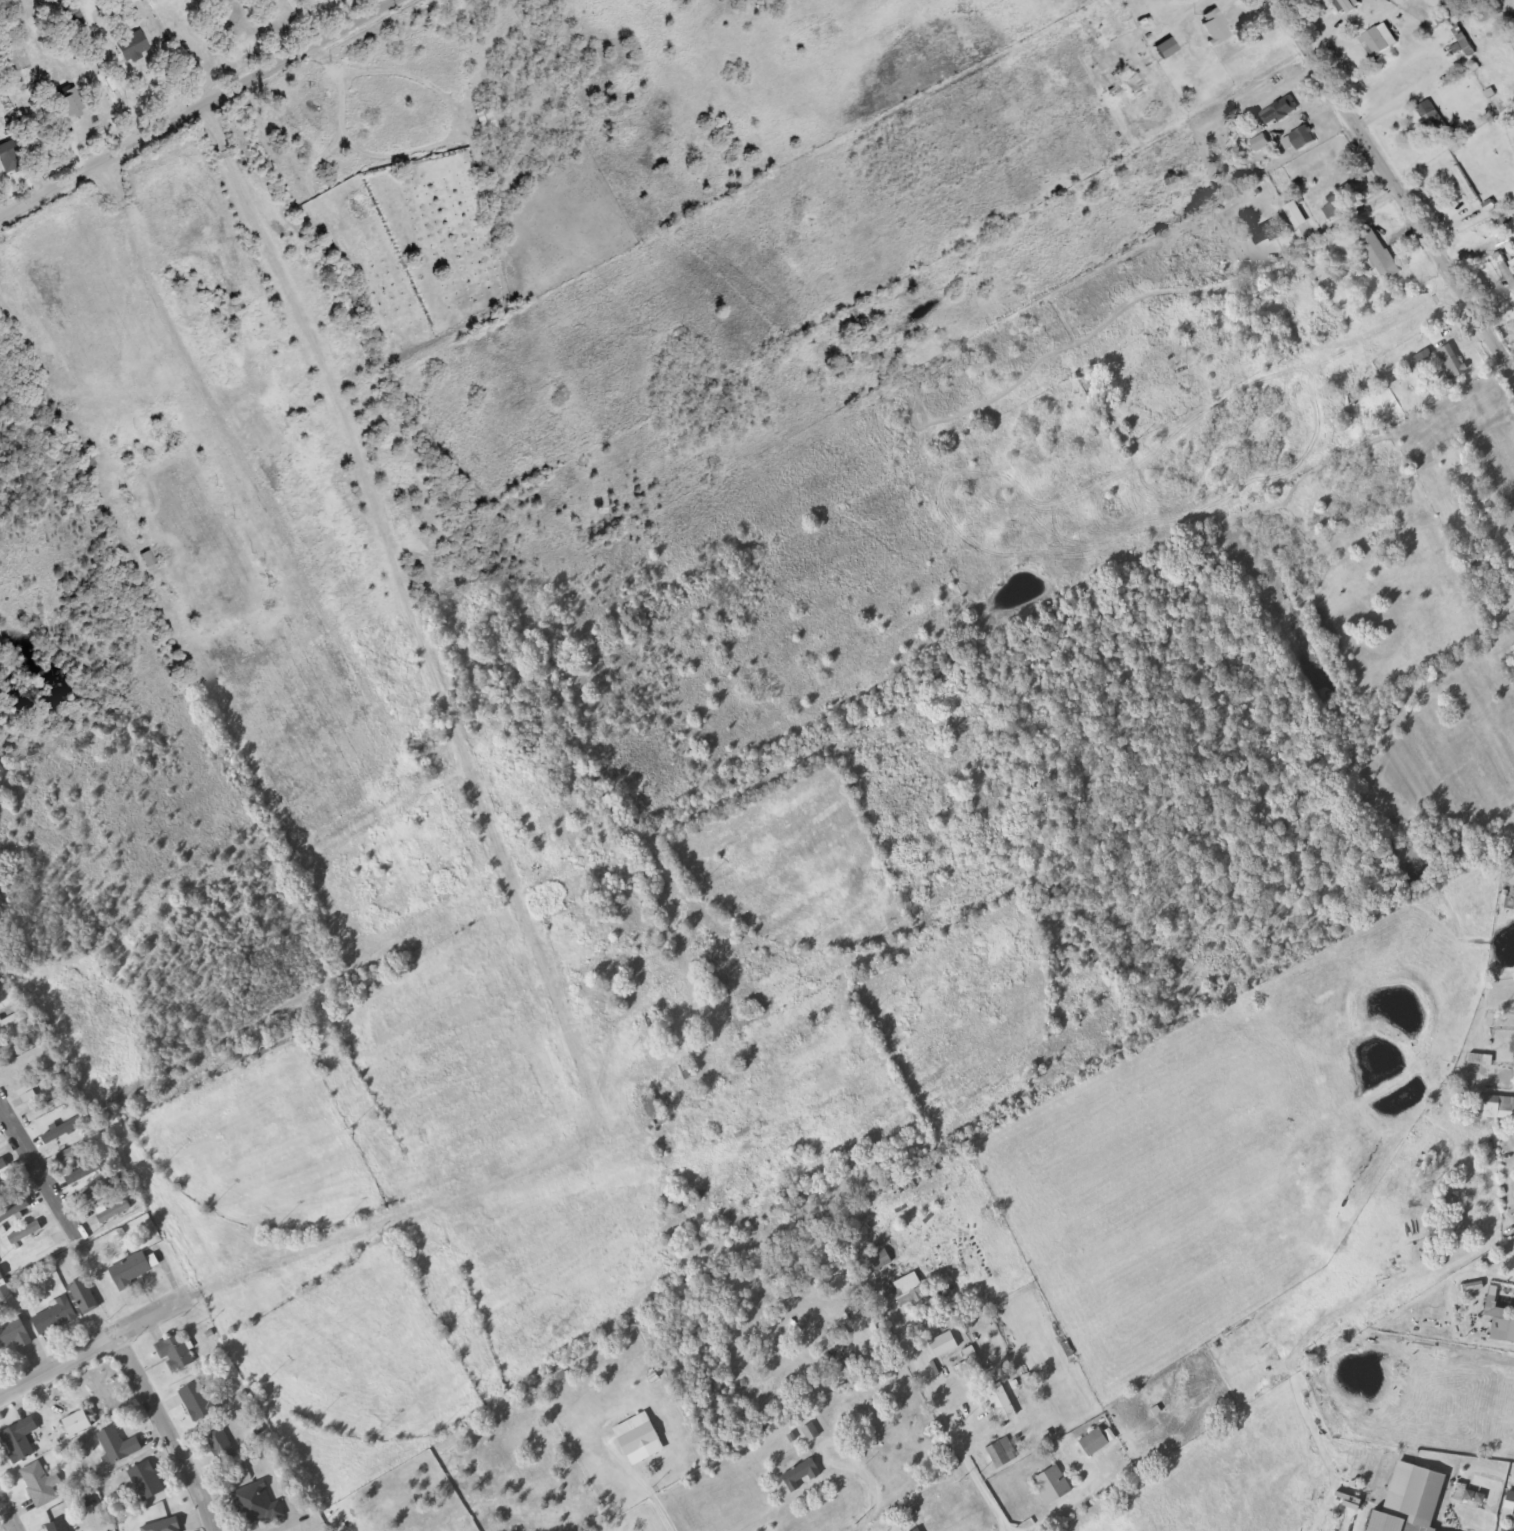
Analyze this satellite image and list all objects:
building: (1348, 6)
building: (1215, 27)
building: (1379, 42)
building: (133, 47)
building: (1167, 48)
building: (71, 101)
road: (195, 107)
building: (1281, 112)
building: (1434, 121)
building: (1302, 139)
building: (10, 157)
building: (1466, 184)
road: (1395, 186)
building: (1342, 203)
building: (1298, 215)
building: (1269, 232)
building: (1380, 255)
building: (1507, 267)
building: (1451, 364)
building: (90, 462)
building: (148, 558)
building: (1512, 674)
building: (1511, 860)
road: (524, 913)
building: (37, 1082)
building: (1498, 1108)
building: (50, 1109)
building: (655, 1112)
building: (67, 1129)
building: (3, 1165)
building: (86, 1168)
building: (8, 1188)
building: (102, 1189)
building: (15, 1213)
building: (114, 1213)
building: (25, 1234)
building: (878, 1262)
building: (131, 1272)
building: (1, 1278)
building: (1471, 1288)
building: (908, 1290)
building: (55, 1317)
building: (1500, 1319)
building: (14, 1335)
building: (175, 1354)
building: (848, 1370)
building: (197, 1402)
building: (1002, 1403)
building: (80, 1422)
road: (952, 1425)
road: (167, 1430)
building: (810, 1432)
building: (639, 1436)
building: (20, 1441)
building: (219, 1443)
building: (1094, 1443)
building: (118, 1447)
building: (1002, 1454)
building: (801, 1476)
building: (146, 1482)
building: (41, 1485)
building: (1053, 1486)
building: (1411, 1500)
building: (1510, 1503)
building: (257, 1505)
road: (8, 1509)
building: (58, 1526)
building: (1513, 1526)
building: (164, 1527)
building: (918, 1530)

